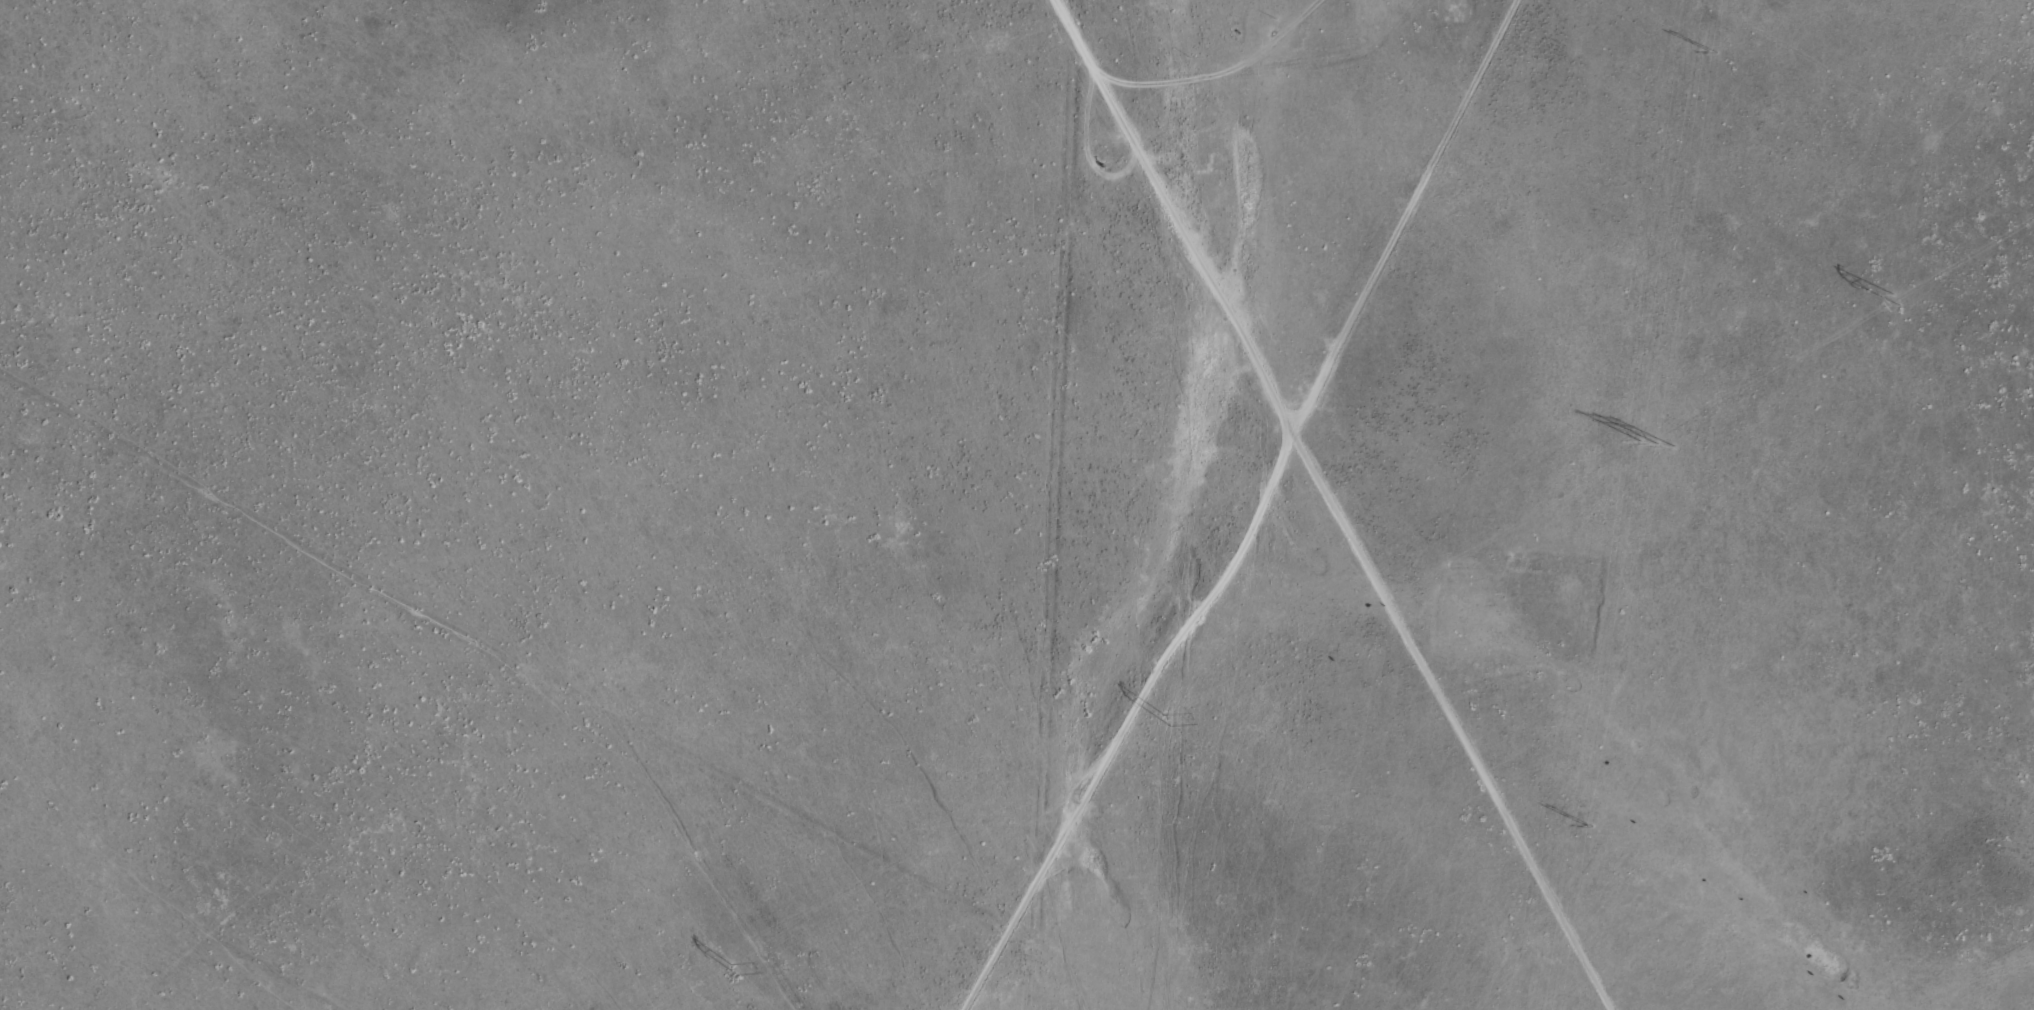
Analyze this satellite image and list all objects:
power tower: (1714, 48)
power tower: (1893, 302)
road: (1274, 338)
power tower: (1656, 445)
road: (567, 713)
power tower: (1166, 718)
power tower: (1588, 825)
power tower: (734, 964)

